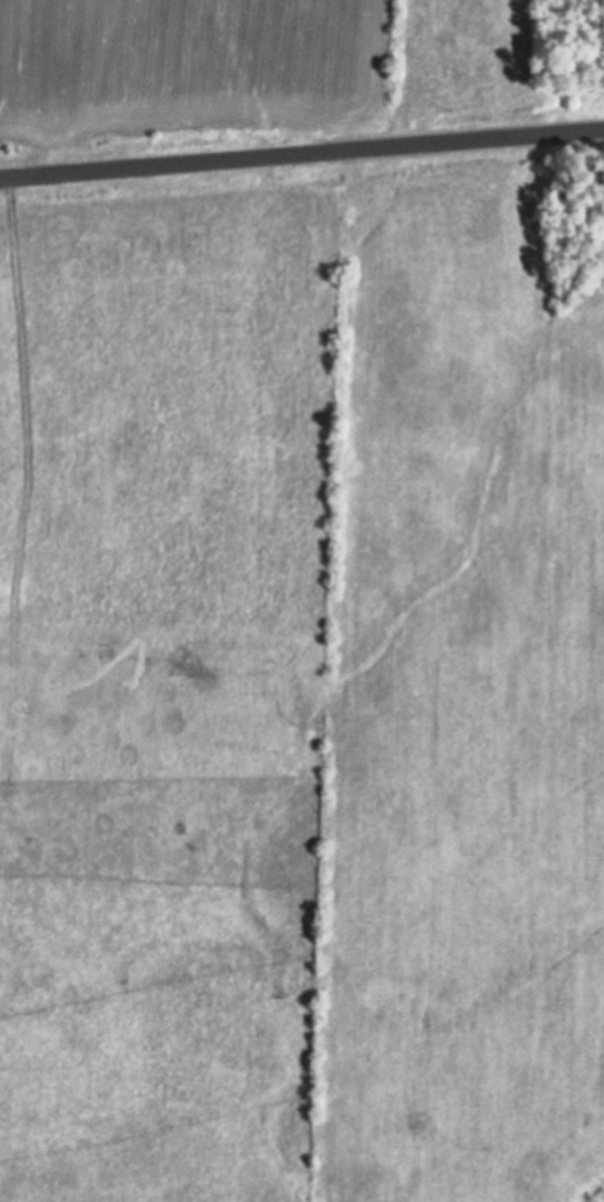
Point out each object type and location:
road: (301, 154)

